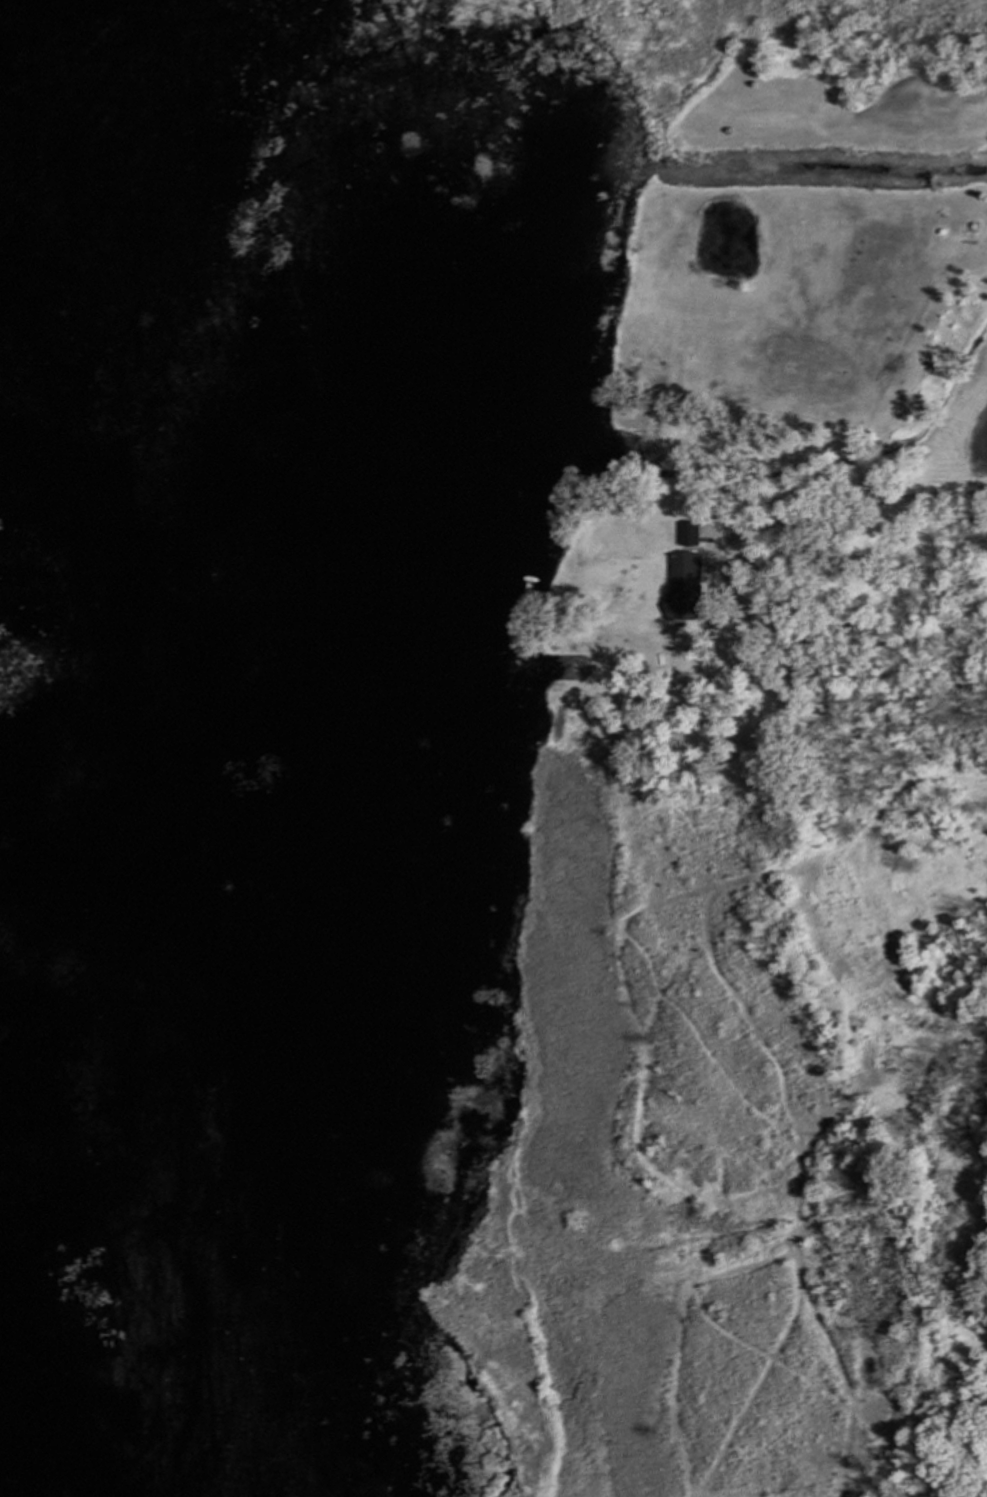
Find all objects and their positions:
road: (934, 498)
road: (704, 566)

